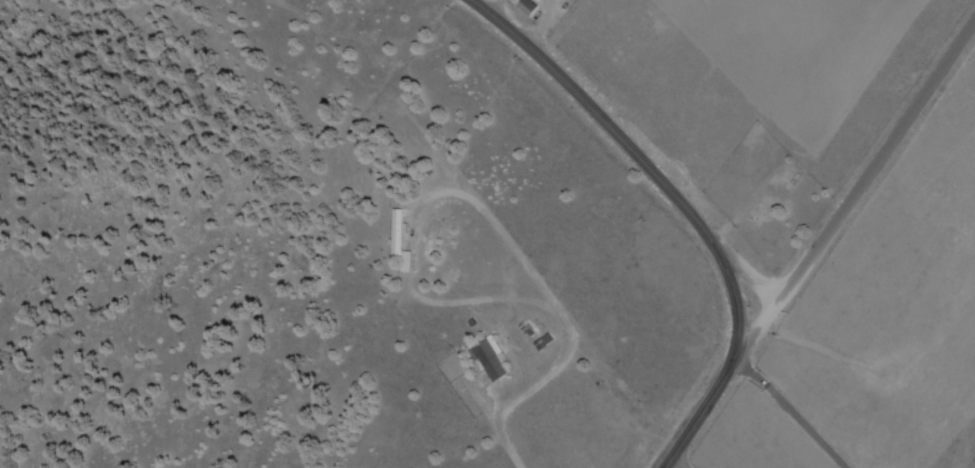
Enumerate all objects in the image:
building: (525, 7)
park: (765, 194)
road: (853, 195)
road: (682, 205)
building: (397, 240)
road: (745, 271)
road: (189, 320)
building: (542, 342)
building: (488, 359)
road: (825, 400)
road: (673, 463)

